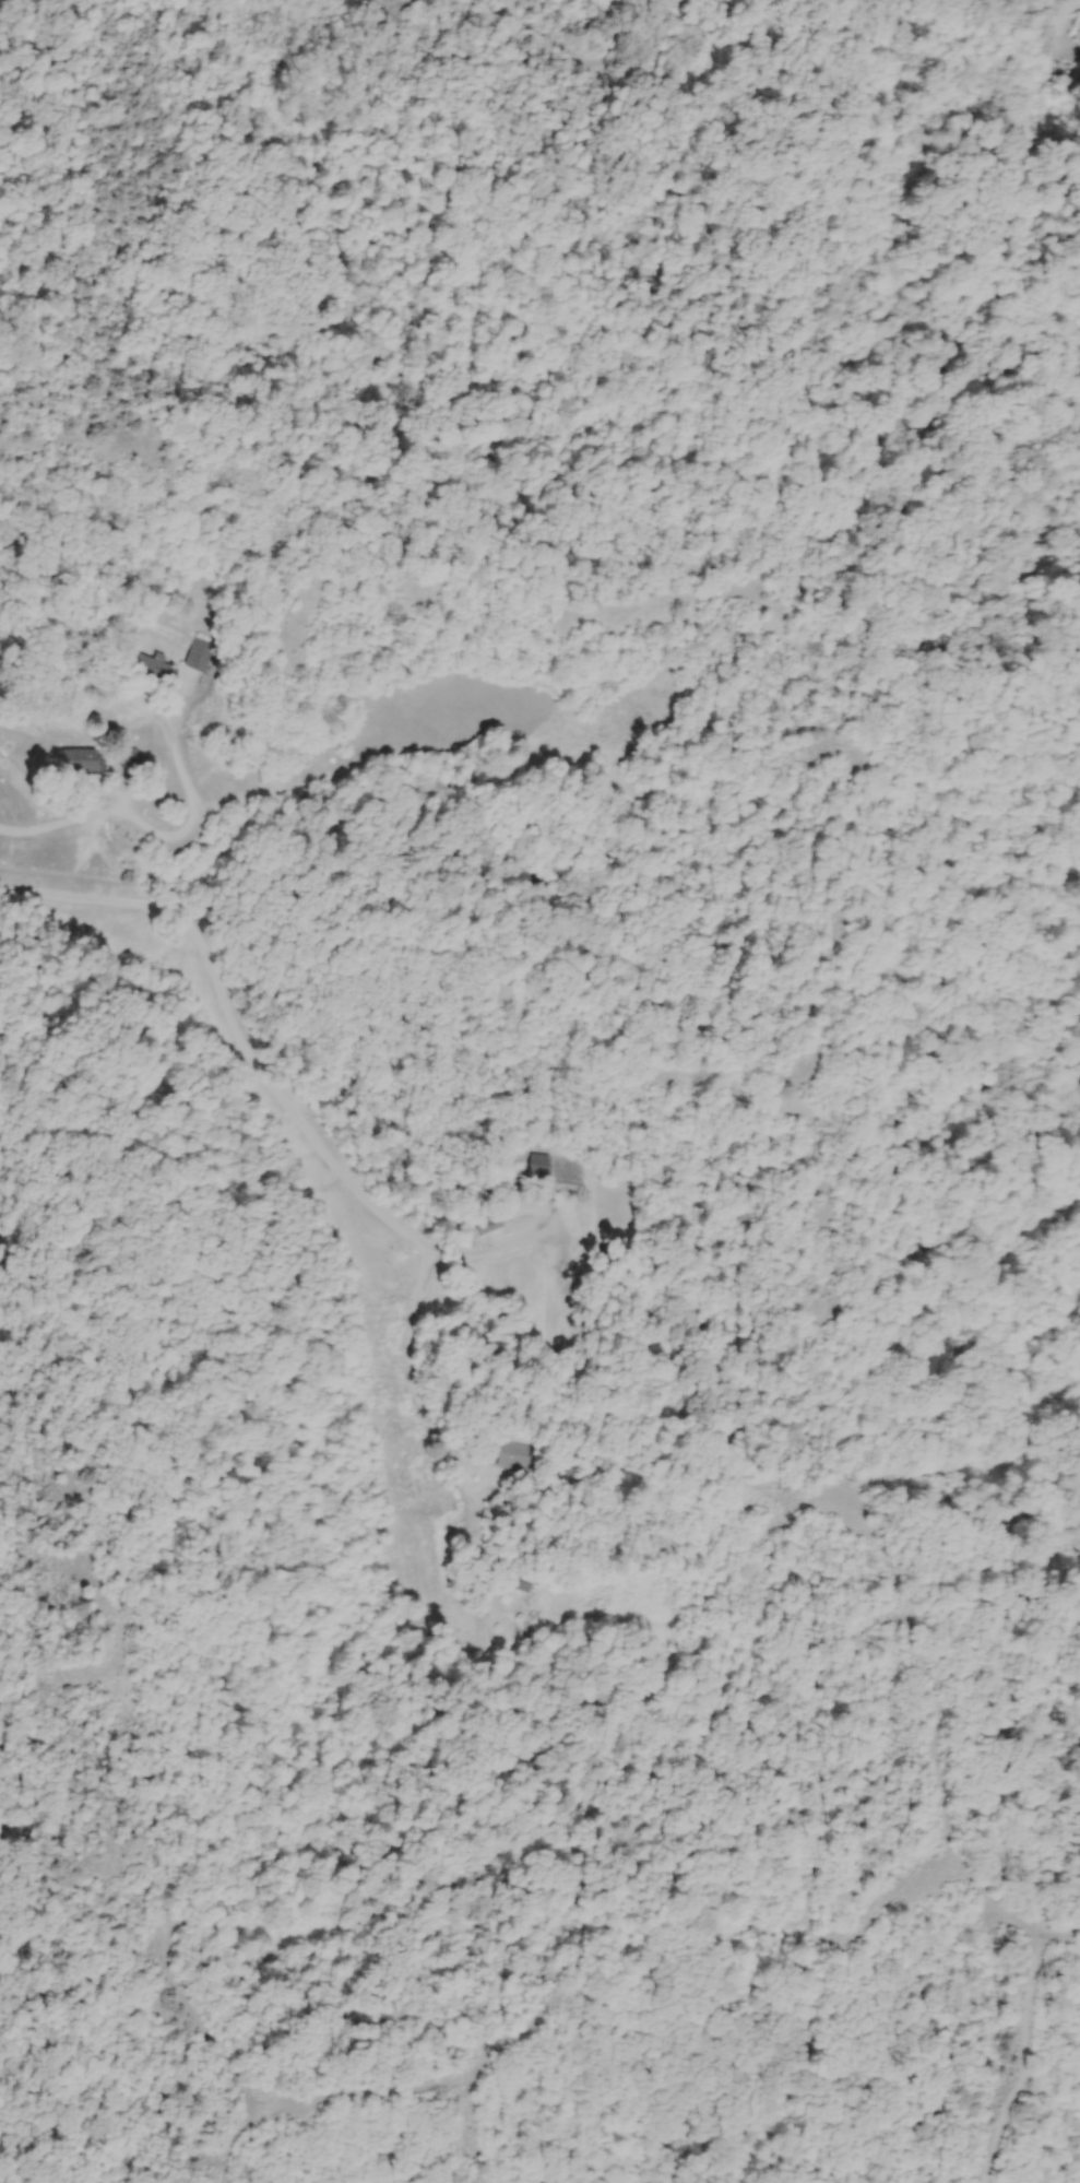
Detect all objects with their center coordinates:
building: (1057, 0)
building: (275, 769)
road: (170, 839)
road: (273, 1070)
road: (441, 1438)

